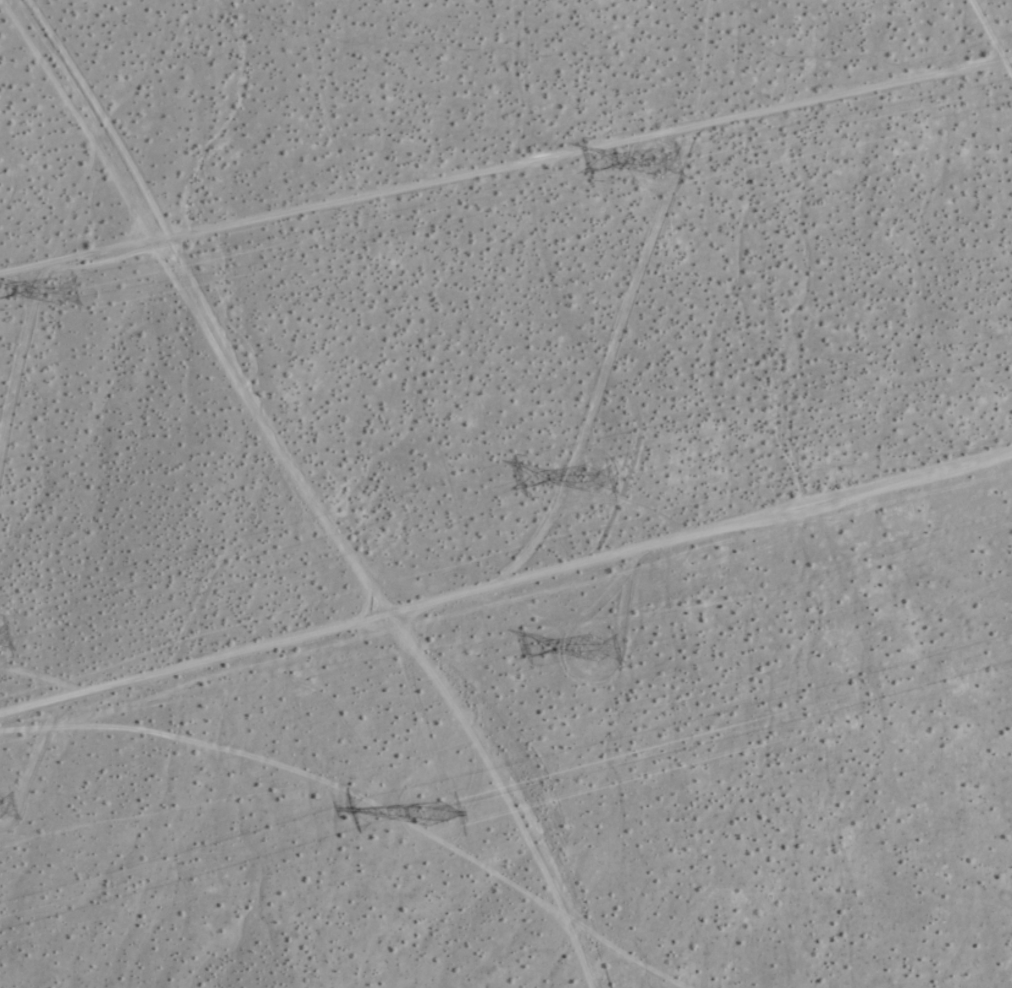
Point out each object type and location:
power tower: (663, 156)
power tower: (67, 286)
power tower: (595, 478)
road: (505, 574)
power tower: (604, 648)
road: (513, 782)
power tower: (1, 805)
power tower: (439, 810)

